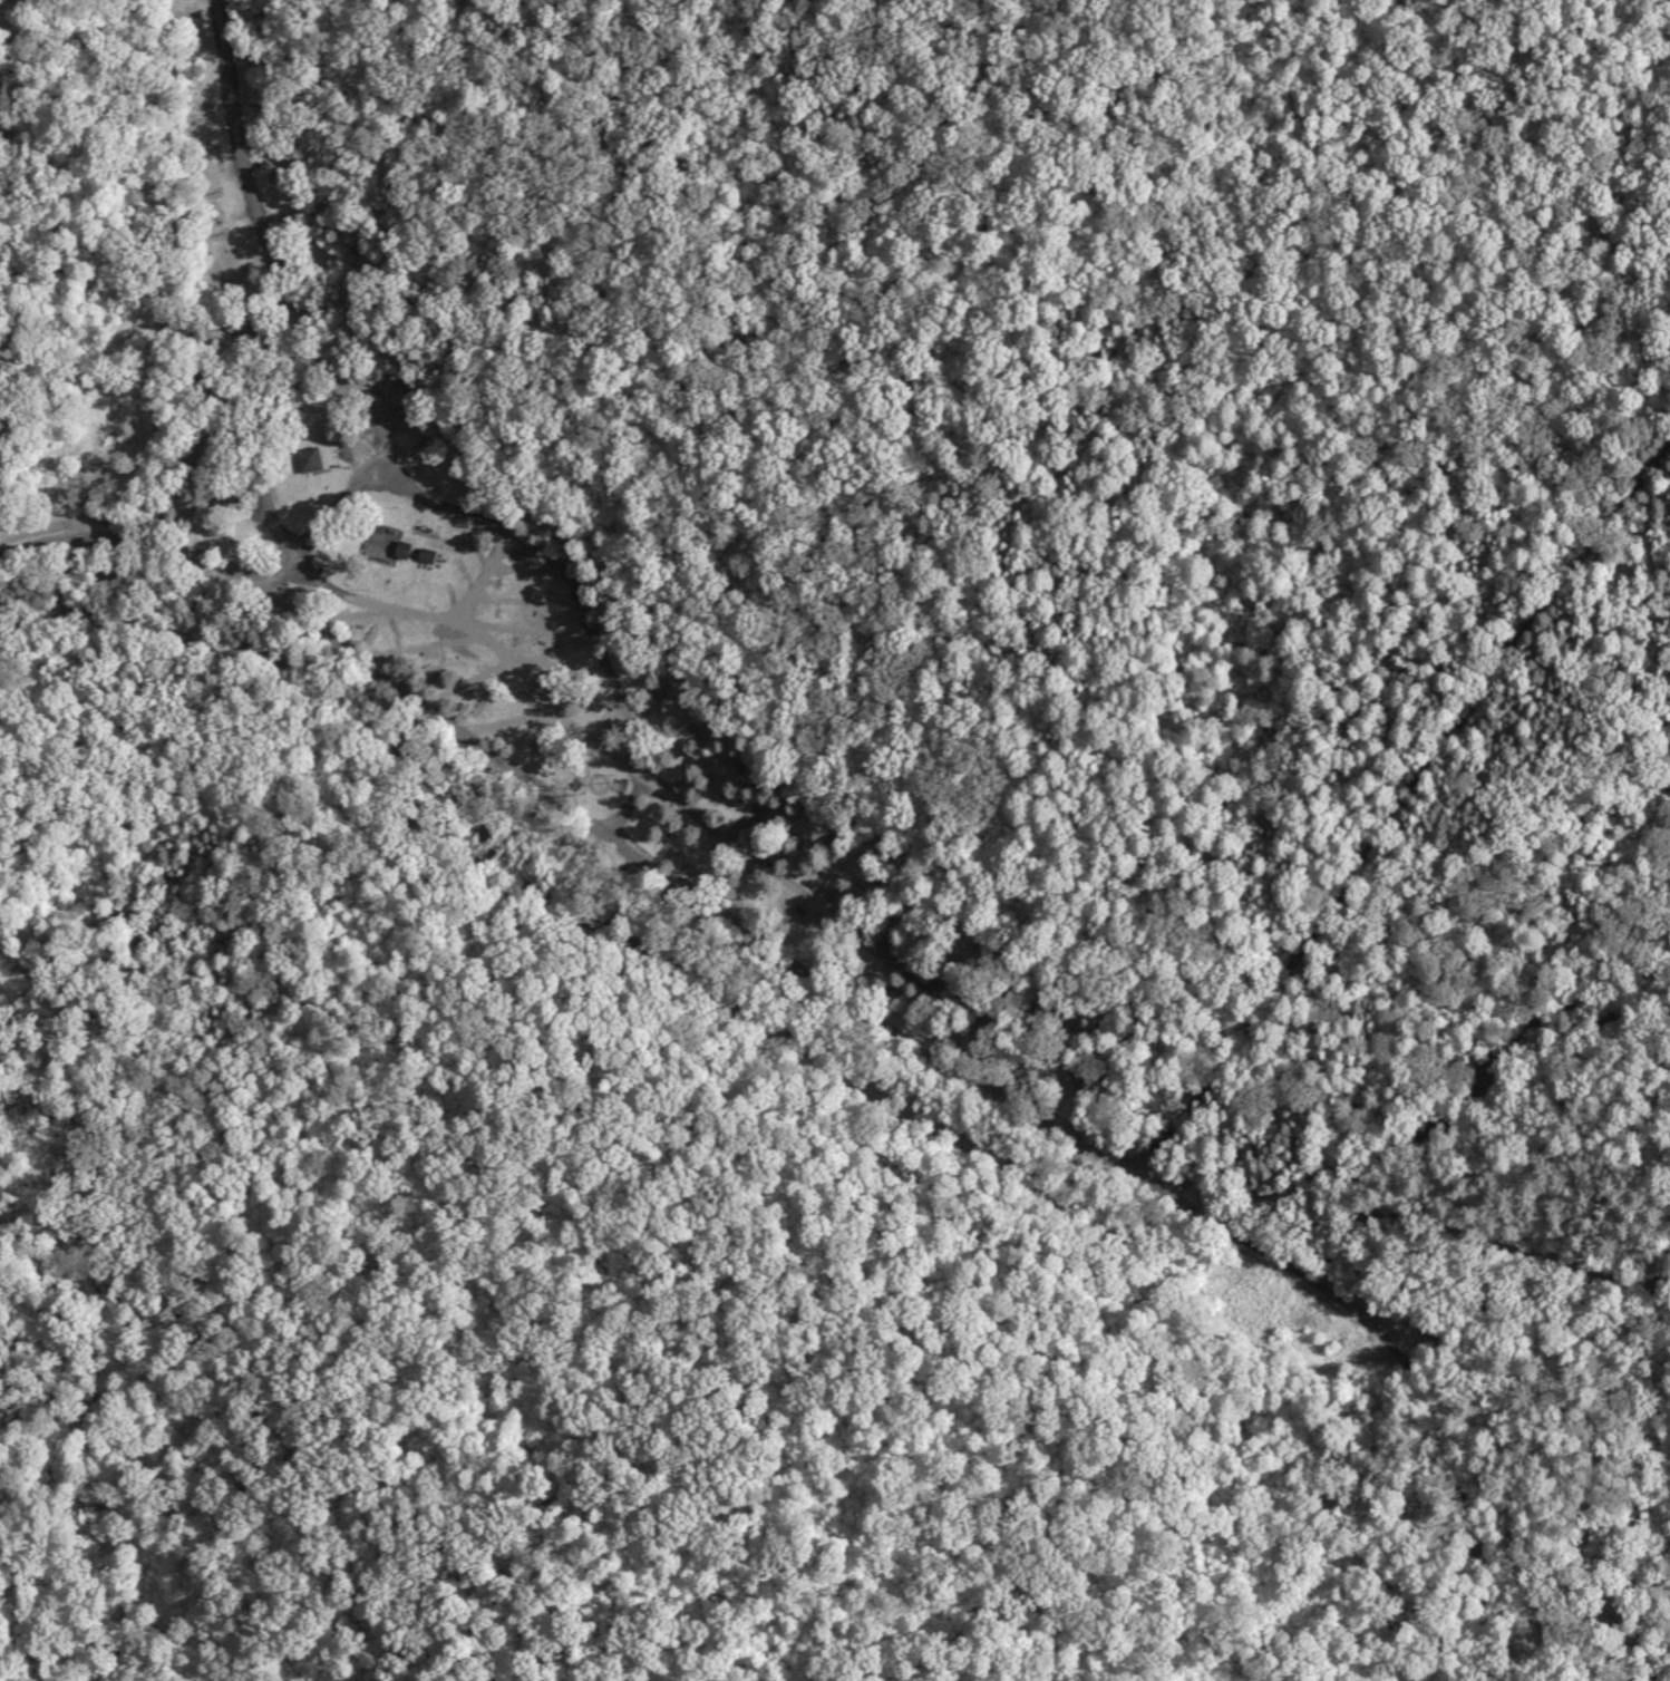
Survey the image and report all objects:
road: (873, 42)
road: (20, 139)
road: (262, 288)
park: (868, 425)
building: (307, 460)
building: (383, 545)
road: (1595, 641)
road: (1398, 784)
road: (1666, 788)
road: (561, 820)
road: (890, 1107)
road: (1350, 1379)

